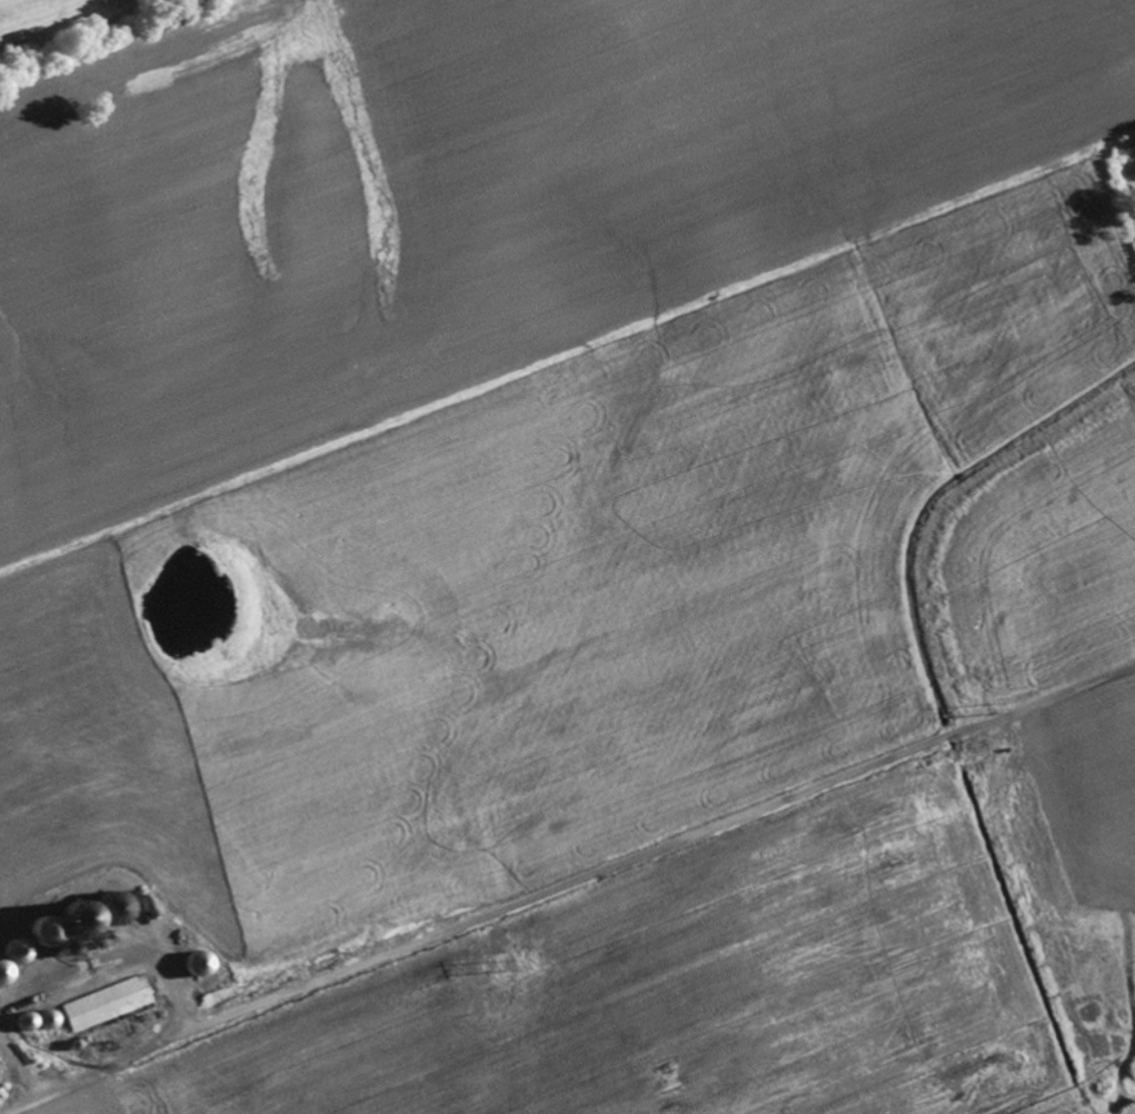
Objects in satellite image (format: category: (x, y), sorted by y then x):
road: (102, 39)
building: (110, 913)
building: (71, 925)
building: (40, 928)
building: (0, 972)
building: (102, 1004)

